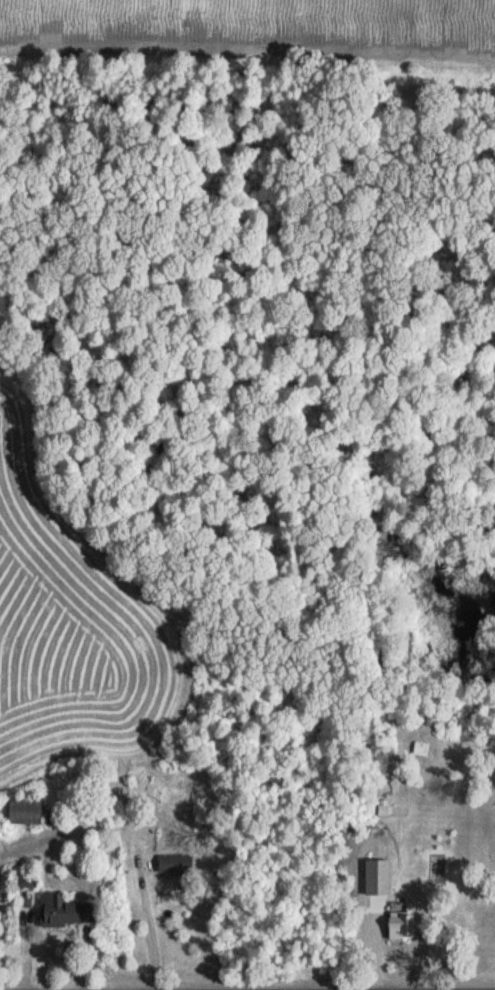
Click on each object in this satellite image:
building: (23, 812)
building: (174, 864)
building: (370, 899)
building: (64, 911)
building: (400, 922)

